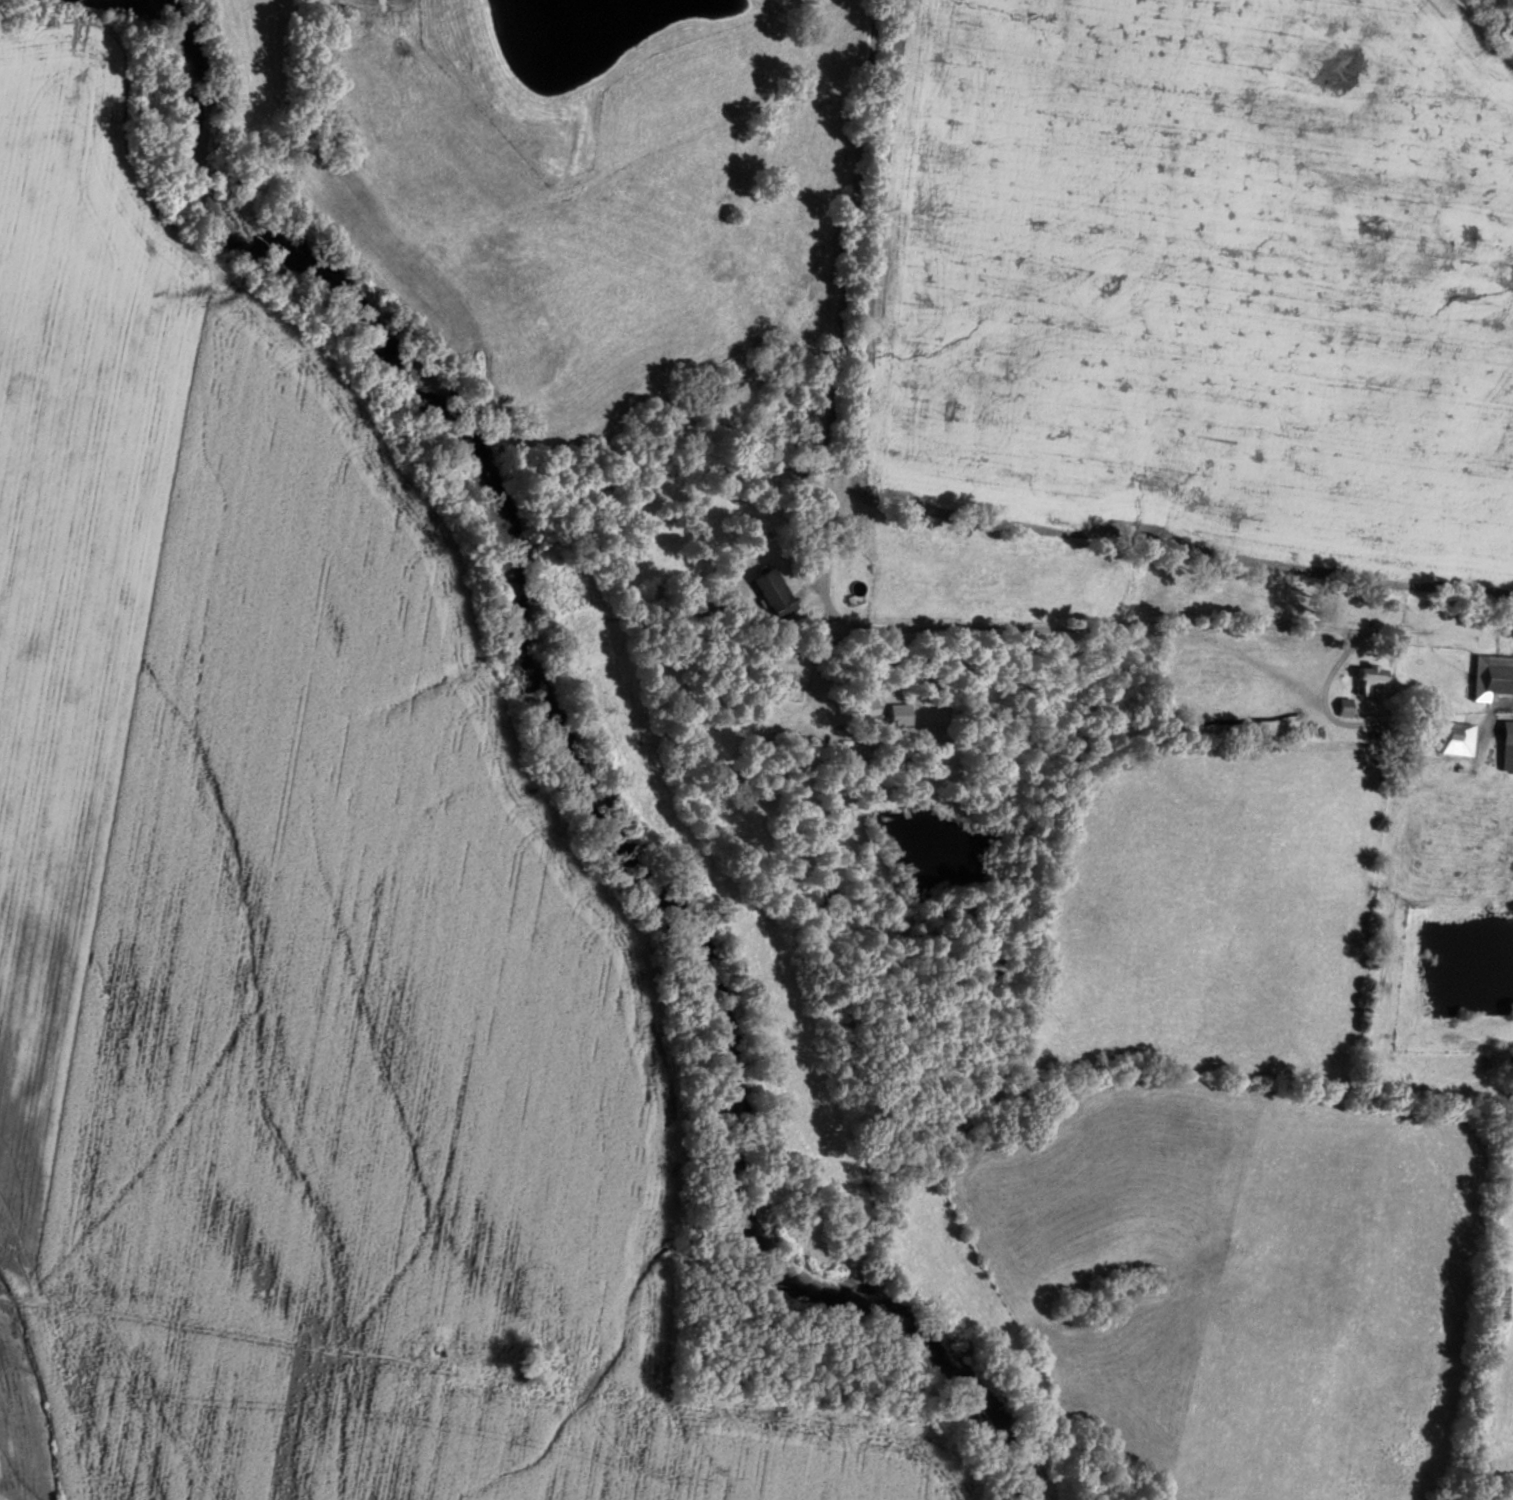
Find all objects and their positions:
road: (830, 582)
building: (775, 590)
building: (1493, 675)
building: (1375, 676)
building: (1347, 705)
building: (1454, 733)
building: (1509, 745)

